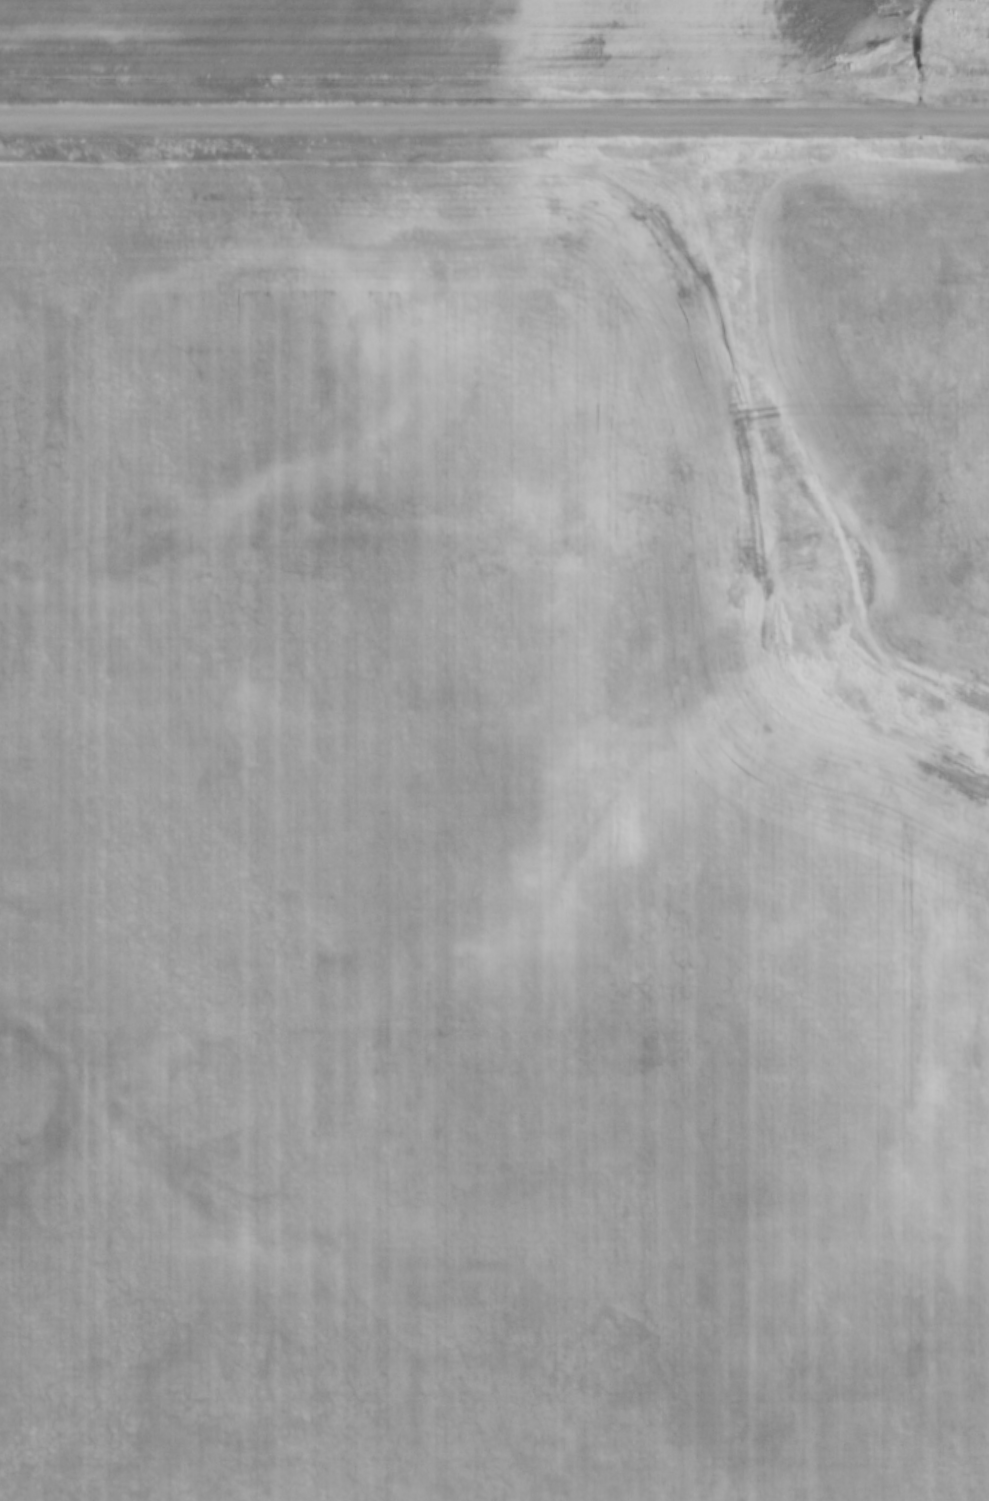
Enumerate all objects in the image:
road: (494, 117)

